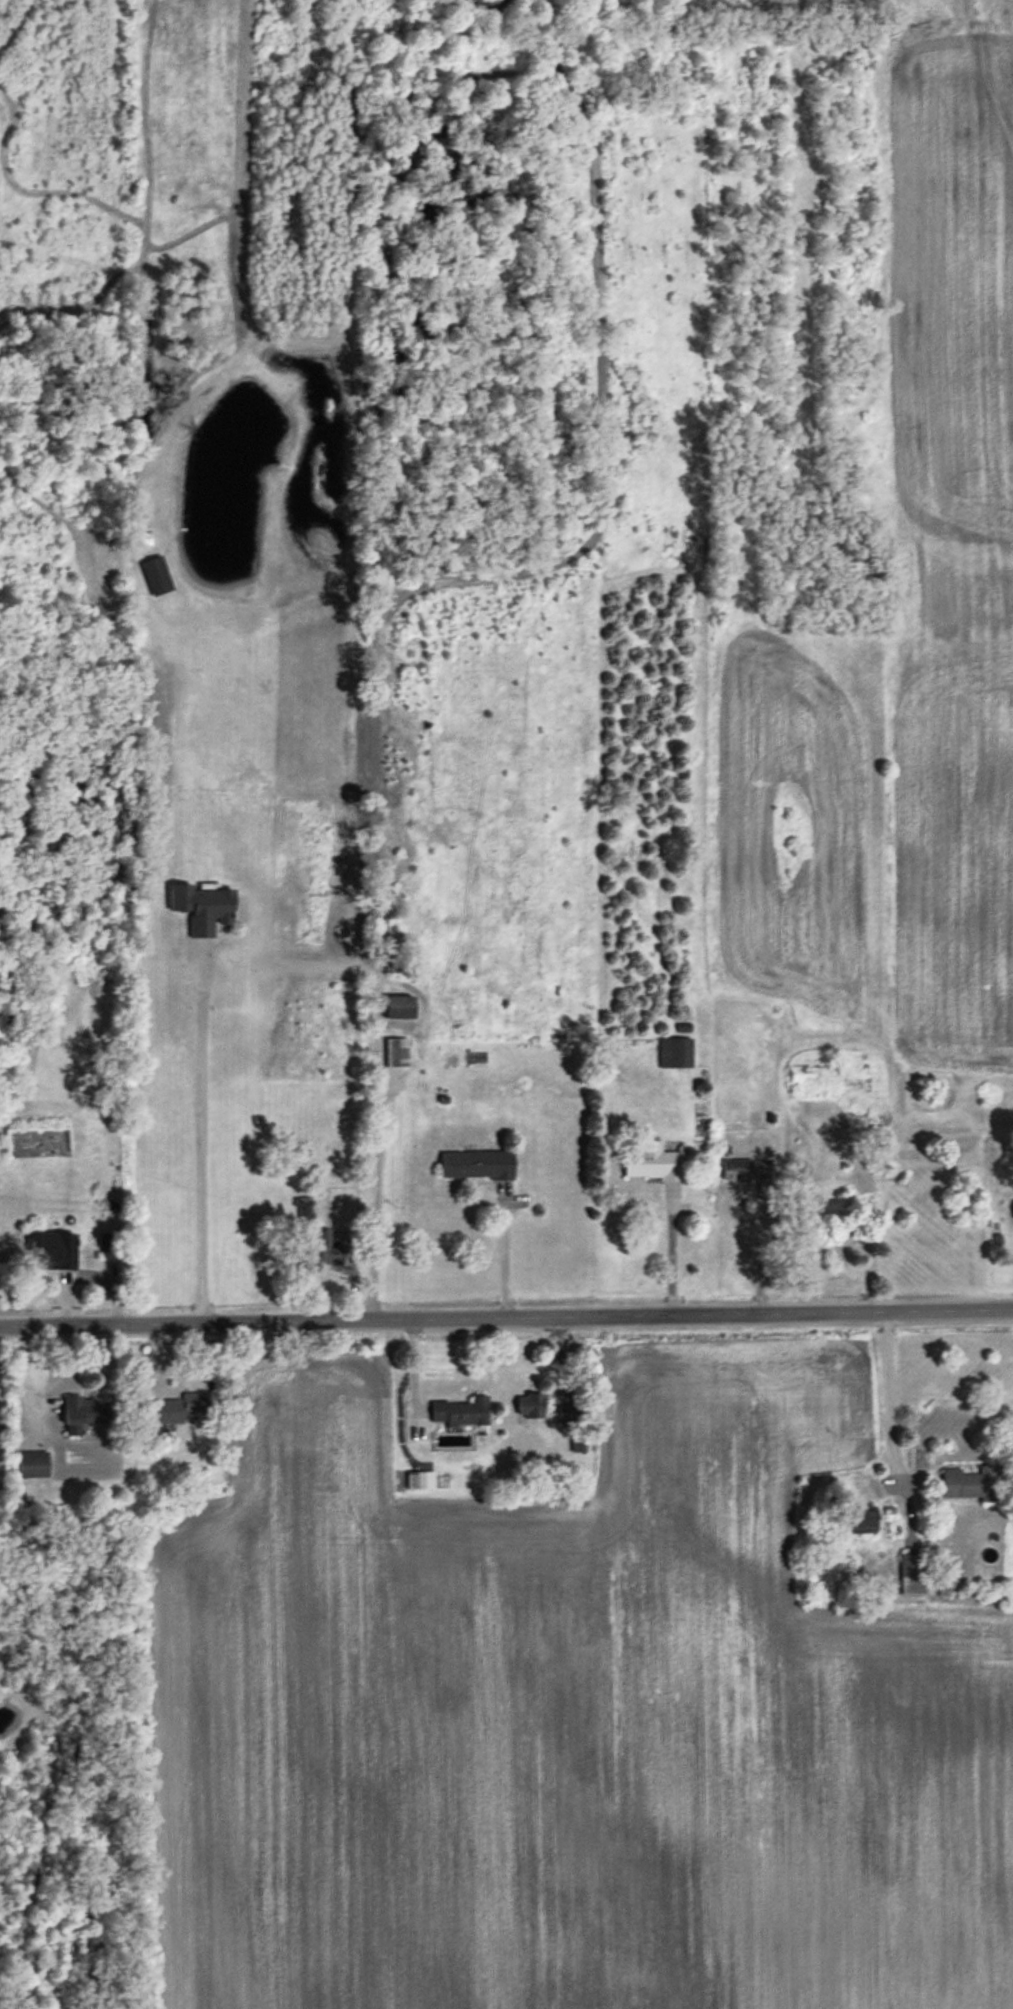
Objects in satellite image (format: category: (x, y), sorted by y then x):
building: (156, 576)
building: (201, 909)
building: (398, 1008)
building: (396, 1053)
building: (674, 1054)
building: (811, 1081)
building: (38, 1143)
road: (195, 1151)
building: (653, 1164)
building: (476, 1165)
building: (745, 1171)
building: (305, 1204)
building: (108, 1247)
building: (324, 1249)
building: (54, 1252)
road: (503, 1252)
road: (669, 1252)
road: (506, 1315)
building: (529, 1406)
building: (174, 1410)
building: (460, 1412)
building: (83, 1414)
building: (567, 1416)
road: (891, 1419)
building: (577, 1446)
building: (32, 1465)
building: (419, 1481)
building: (972, 1484)
building: (854, 1523)
building: (912, 1574)

